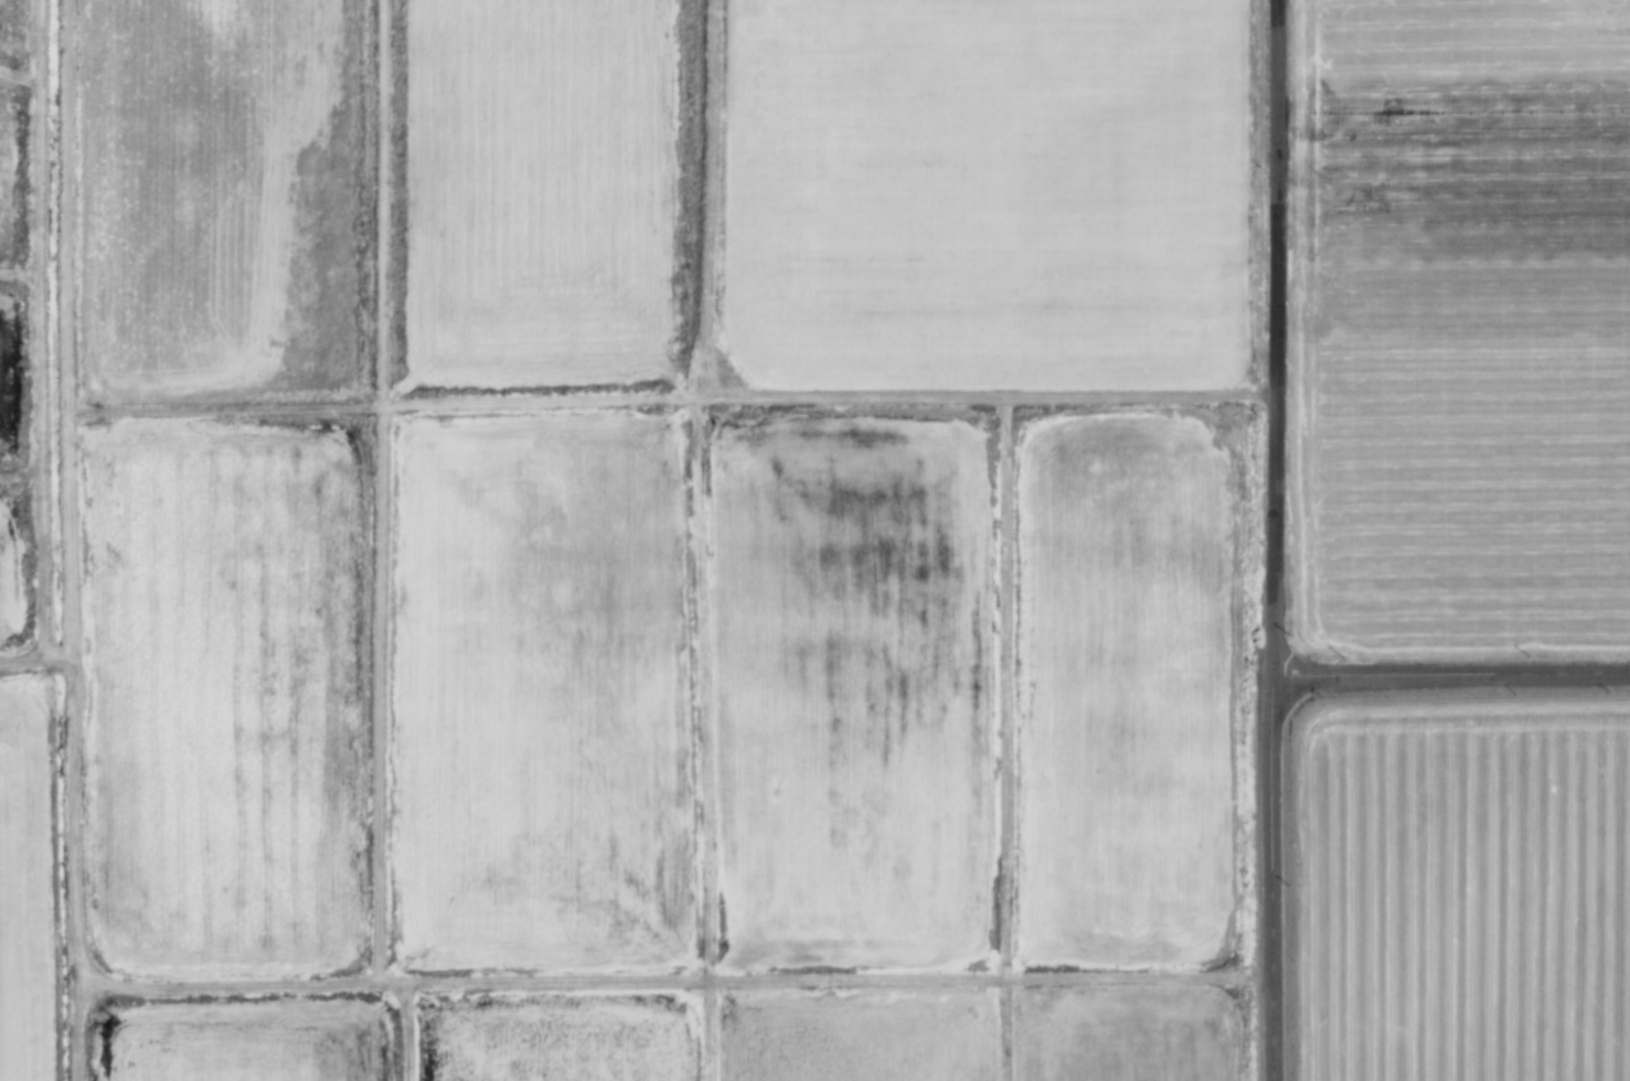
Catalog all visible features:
road: (1261, 540)
road: (1446, 682)

